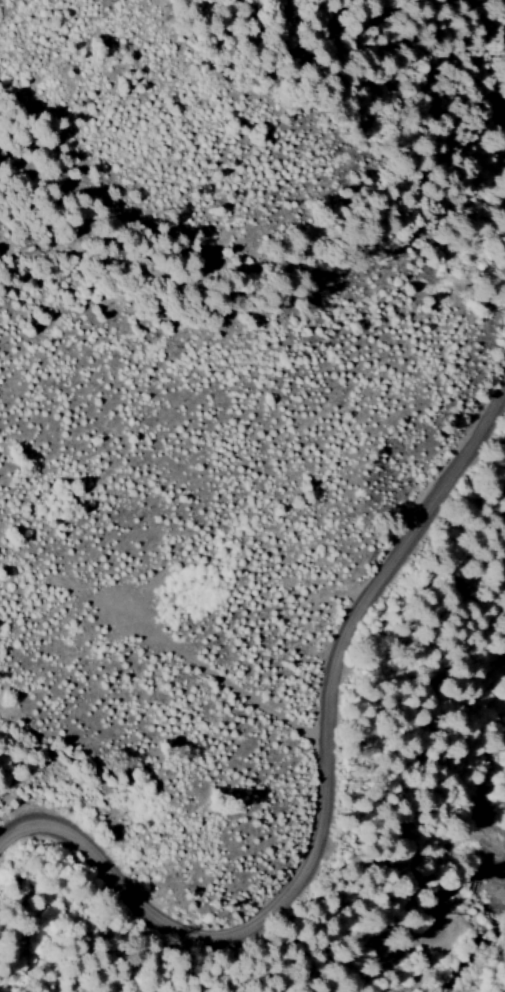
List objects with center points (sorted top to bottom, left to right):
road: (164, 671)
road: (312, 785)

